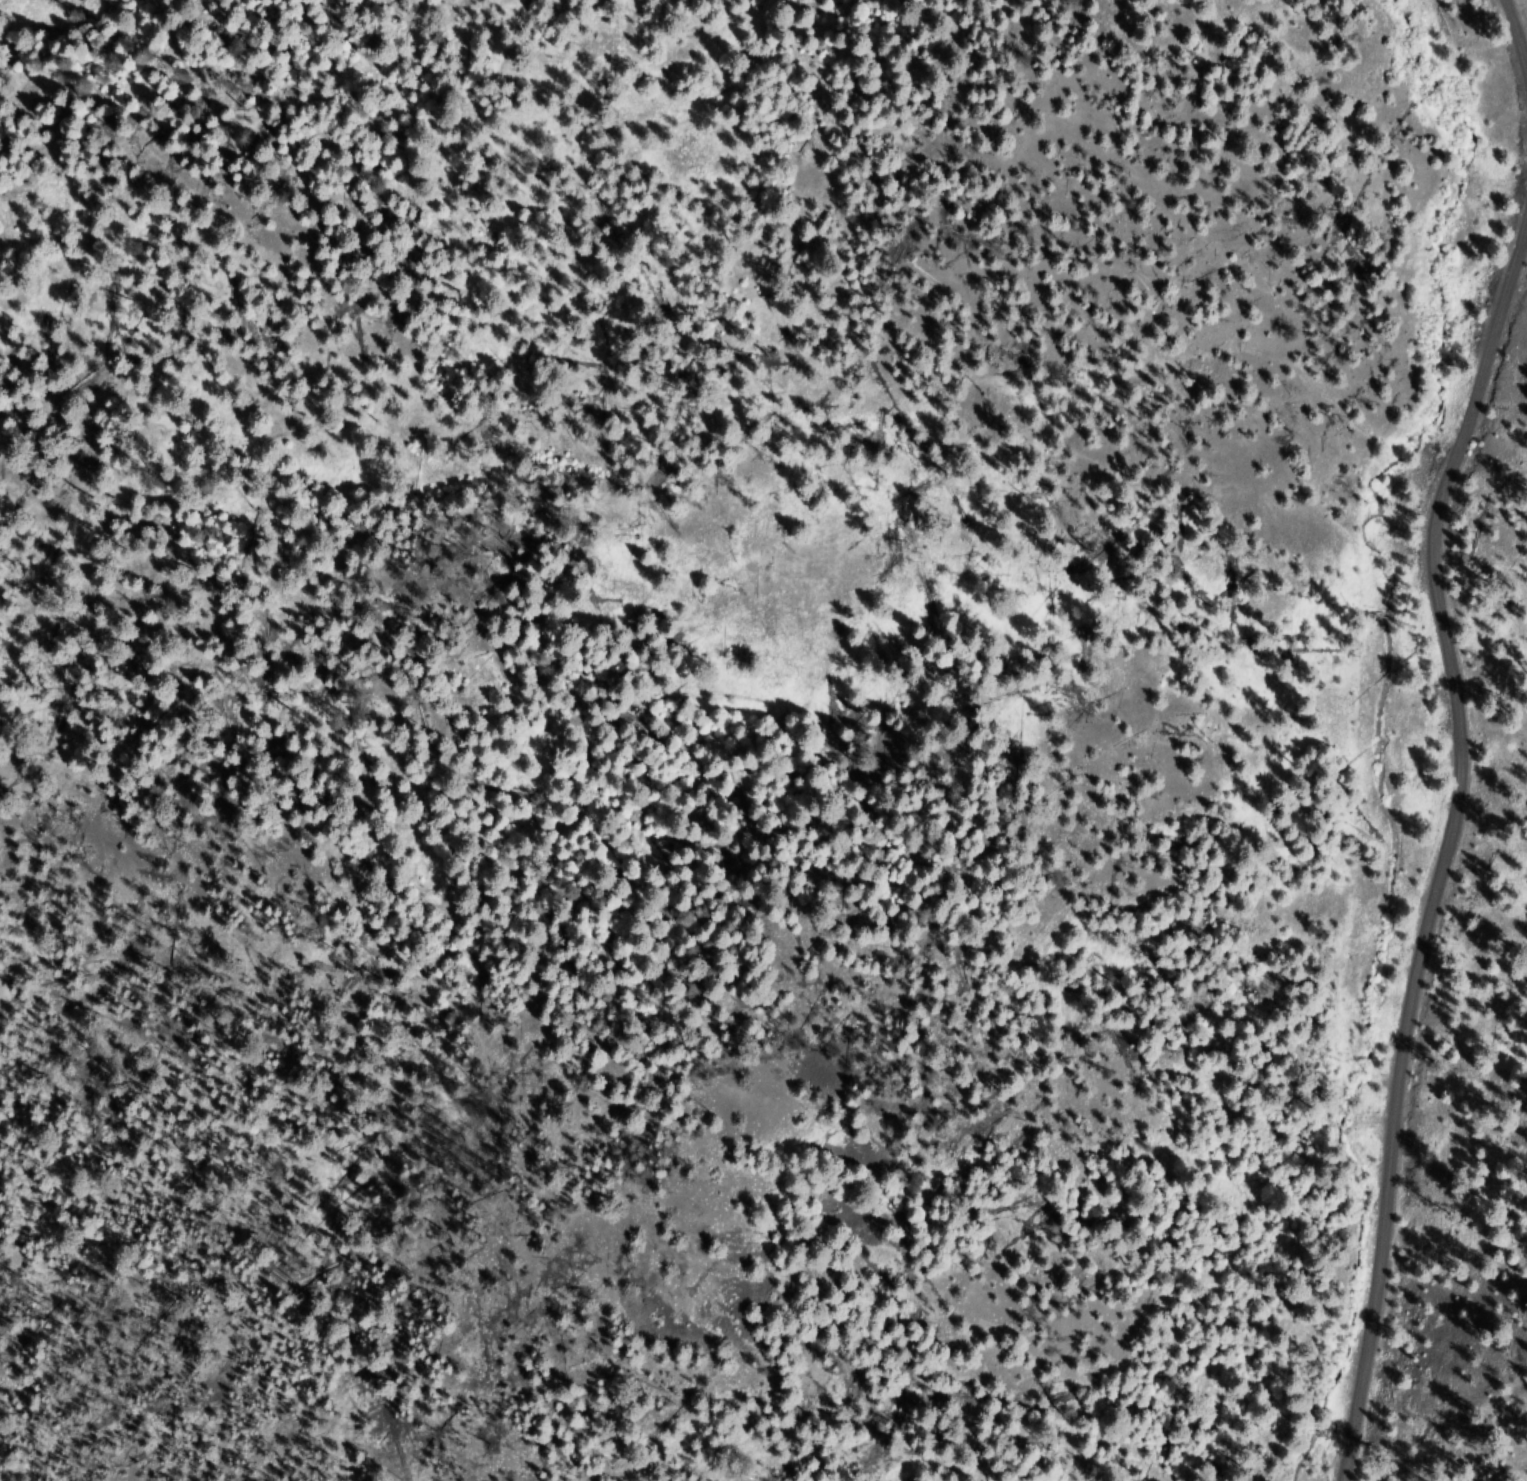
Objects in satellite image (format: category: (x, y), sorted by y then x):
road: (1517, 45)
road: (1446, 831)

